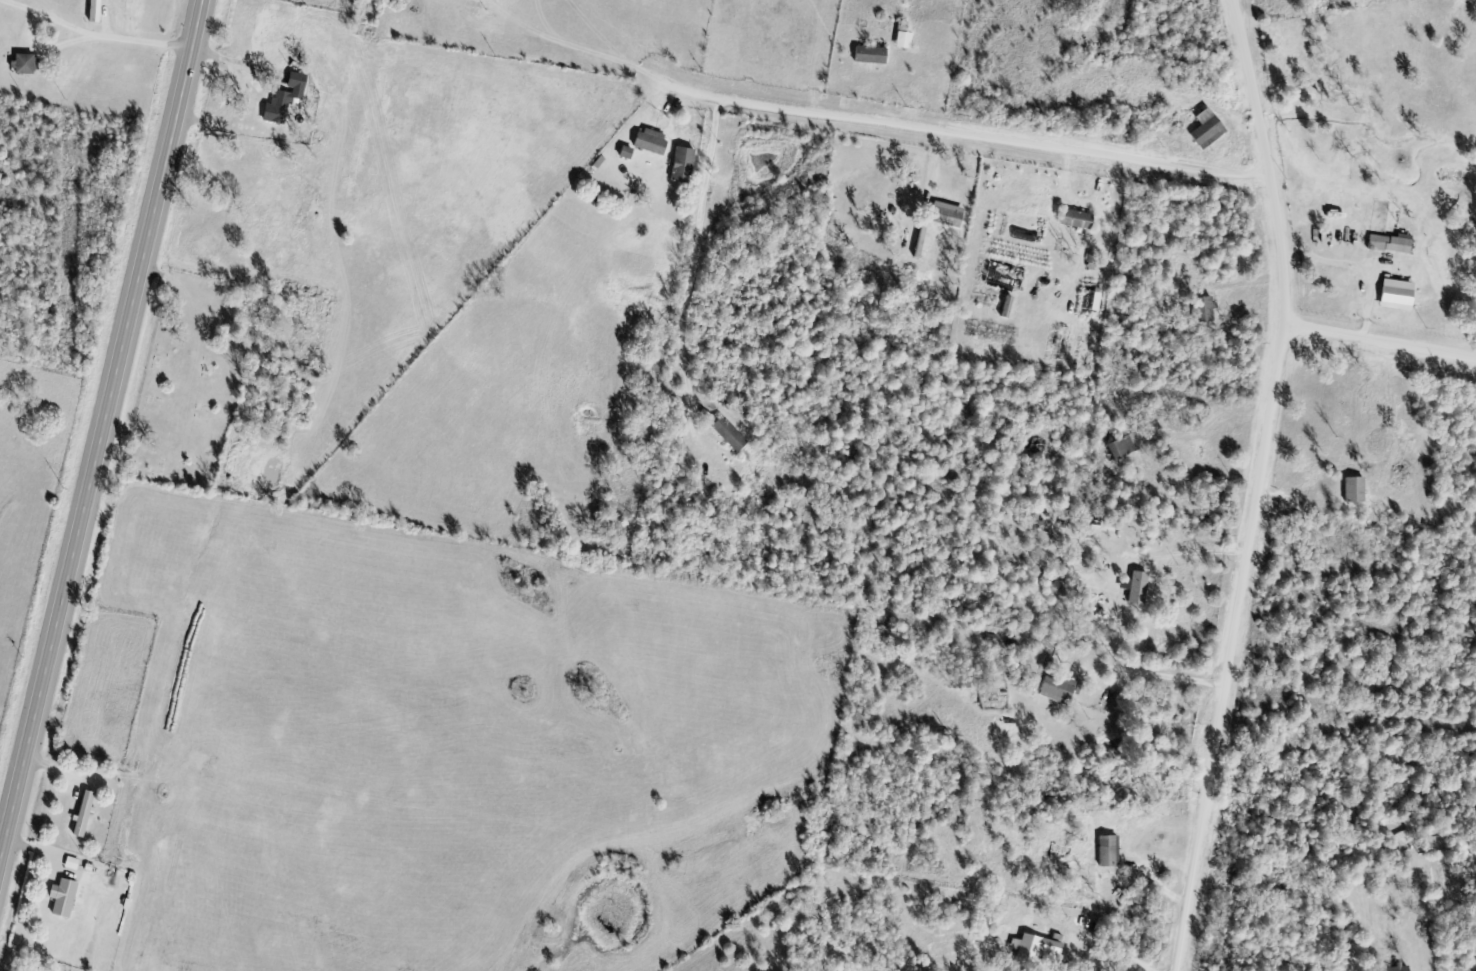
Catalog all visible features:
building: (99, 12)
road: (62, 38)
building: (869, 55)
building: (29, 65)
building: (288, 100)
building: (1206, 129)
road: (956, 130)
building: (677, 154)
building: (945, 215)
building: (1076, 219)
building: (1395, 298)
building: (1203, 311)
road: (1380, 344)
road: (102, 432)
building: (727, 435)
building: (1121, 447)
railway: (232, 485)
road: (1258, 485)
building: (1353, 490)
building: (1136, 587)
road: (1166, 675)
building: (1057, 687)
building: (86, 815)
building: (1107, 851)
building: (68, 899)
building: (1028, 948)
building: (1392, 969)

